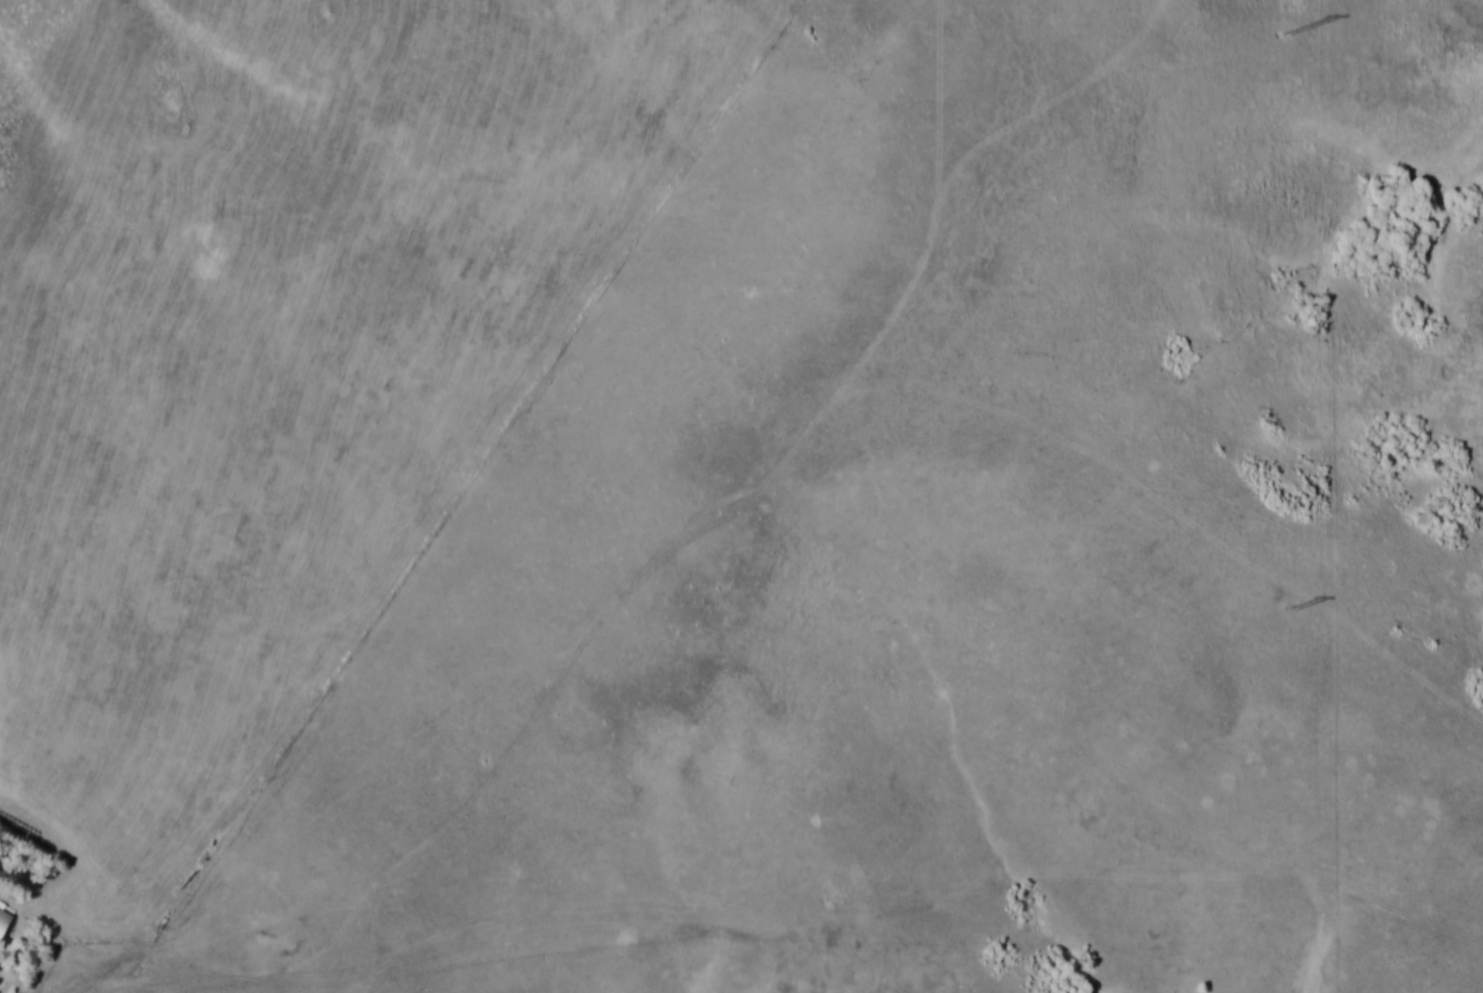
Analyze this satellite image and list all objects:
power tower: (1292, 33)
power tower: (1298, 609)
road: (9, 896)
building: (4, 920)

